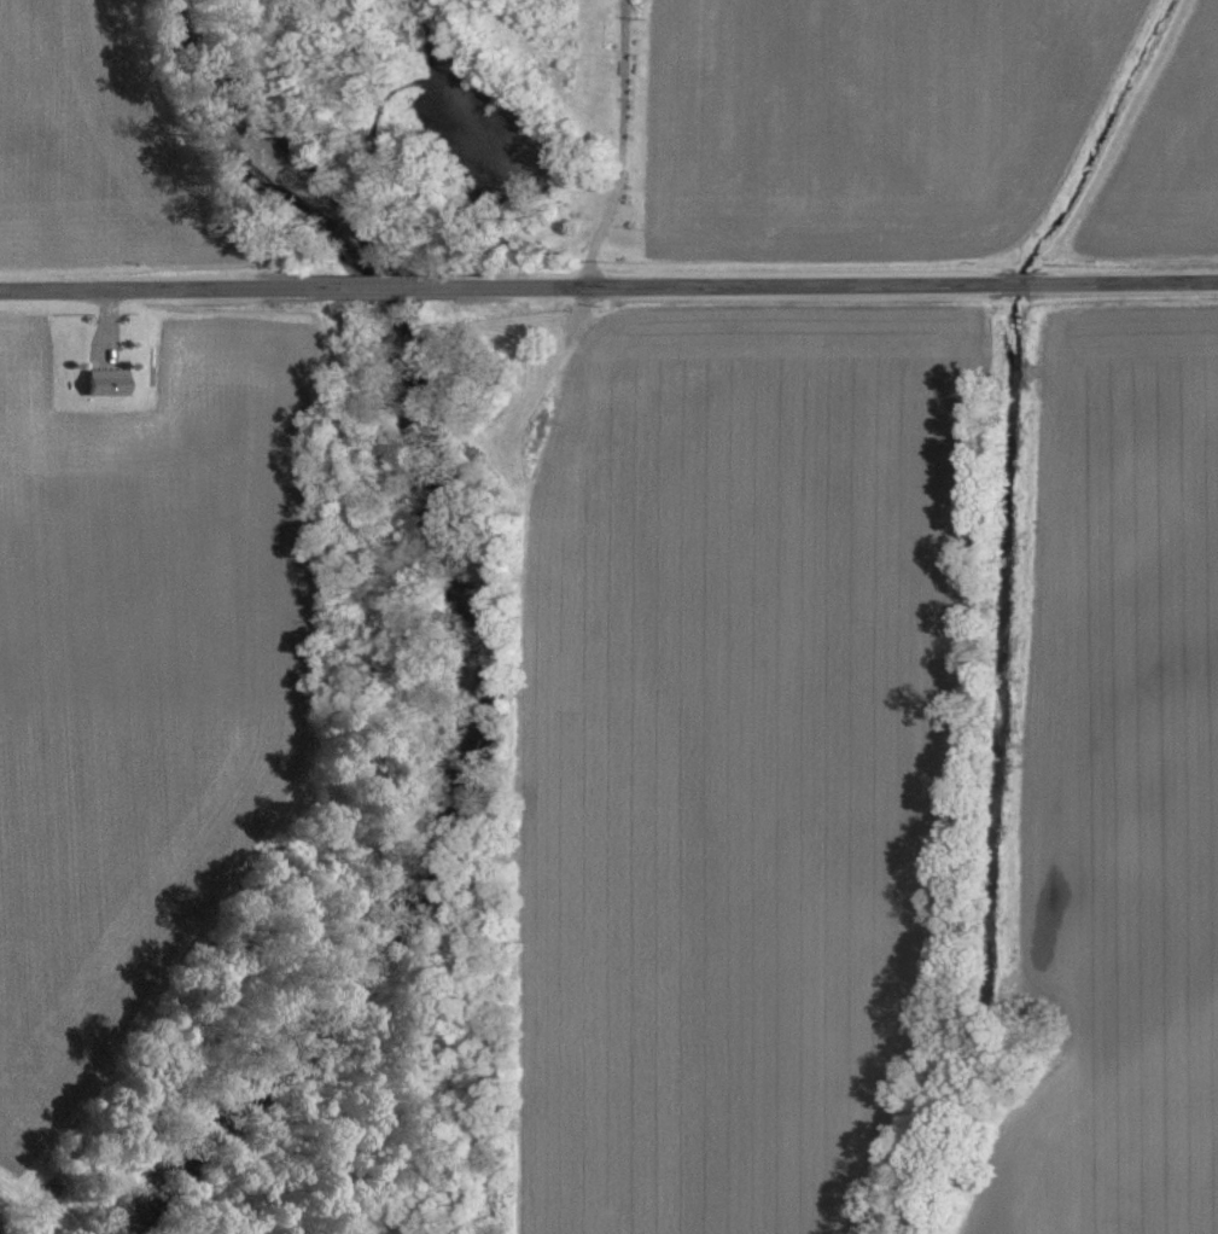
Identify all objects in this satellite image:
road: (620, 145)
road: (1124, 284)
road: (721, 285)
road: (378, 286)
road: (1013, 286)
road: (155, 287)
building: (105, 380)

